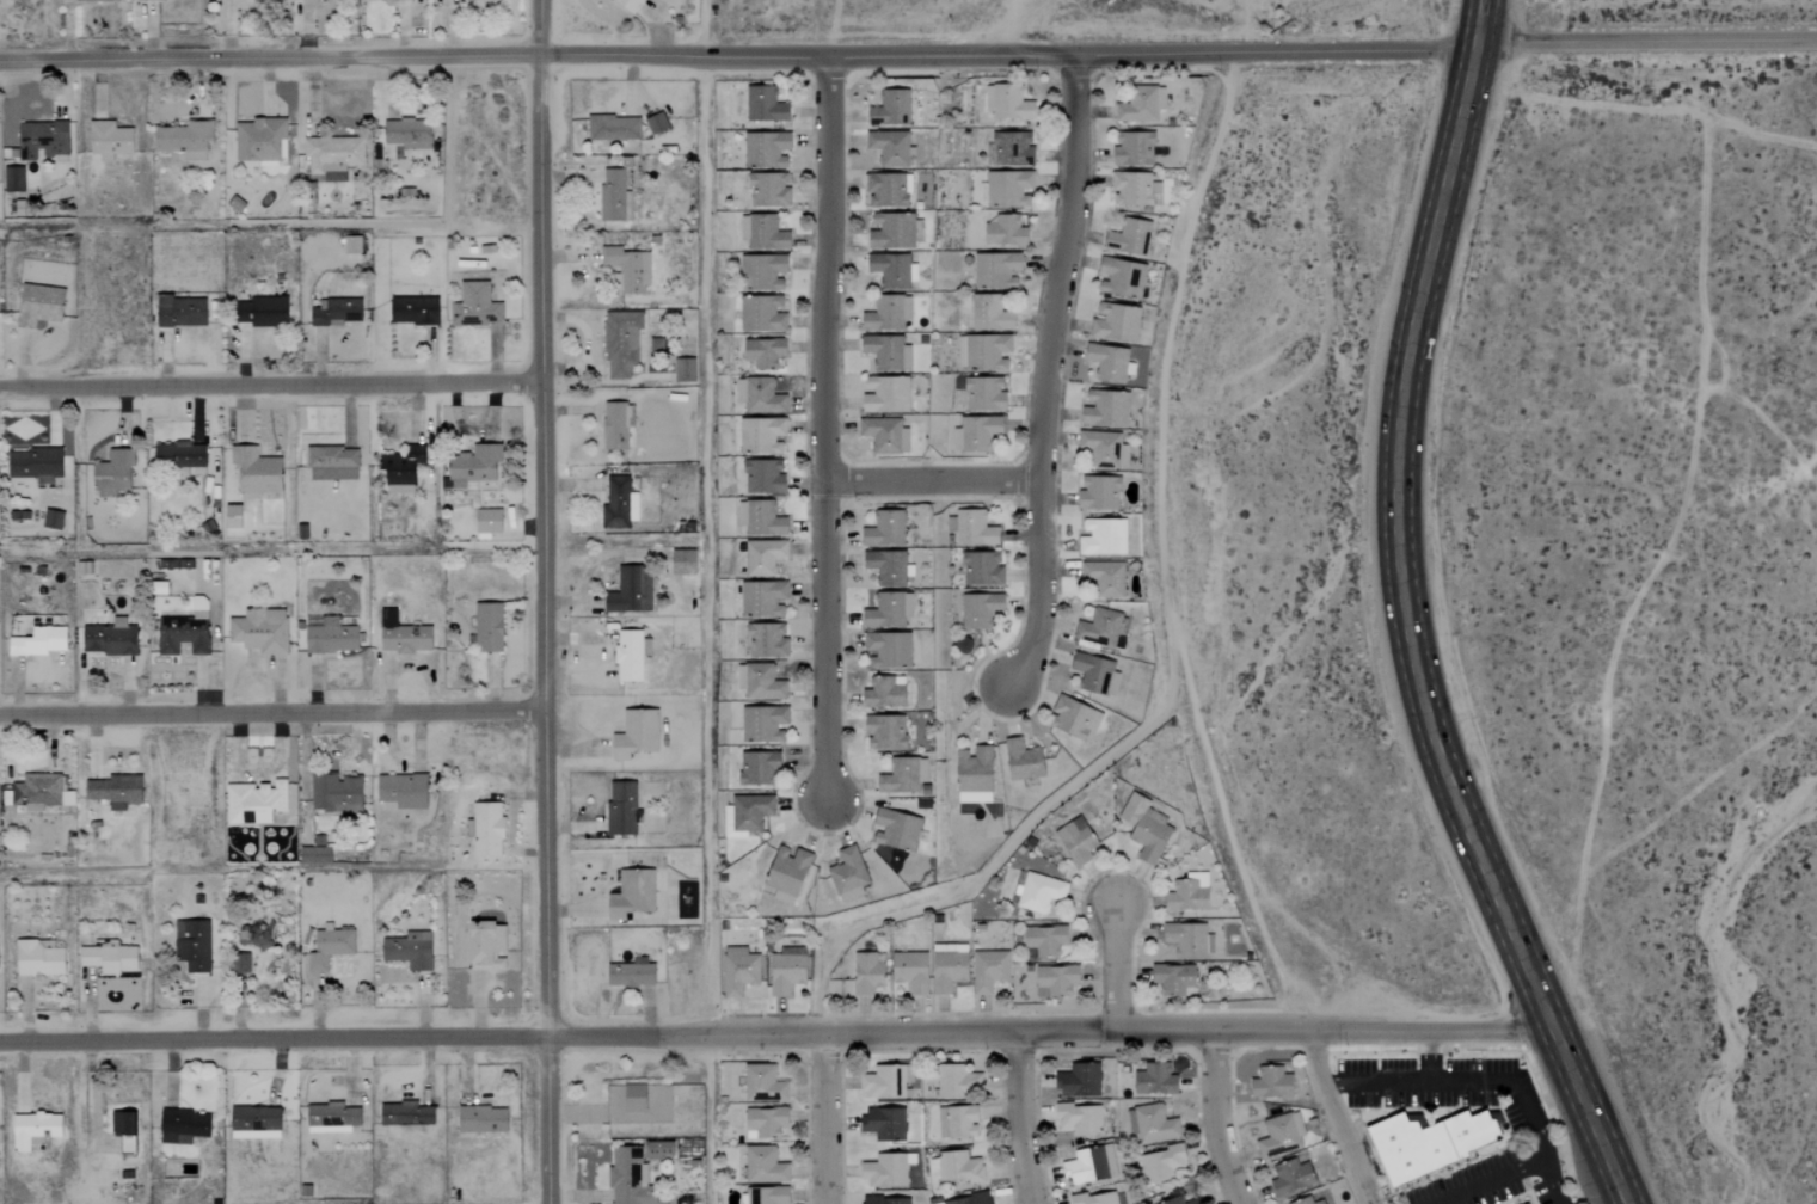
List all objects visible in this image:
building: (84, 0)
building: (228, 0)
building: (370, 0)
building: (630, 5)
road: (1645, 42)
road: (413, 53)
road: (1149, 55)
building: (766, 104)
building: (1143, 105)
building: (892, 107)
building: (657, 123)
building: (614, 128)
building: (410, 134)
building: (185, 139)
building: (42, 140)
building: (110, 140)
building: (262, 140)
building: (891, 147)
building: (767, 148)
building: (1013, 148)
building: (1134, 148)
building: (334, 156)
building: (13, 179)
building: (1007, 188)
building: (1134, 188)
building: (889, 189)
building: (769, 190)
building: (615, 197)
building: (897, 231)
building: (1007, 231)
building: (1132, 236)
building: (352, 244)
building: (628, 269)
building: (894, 270)
building: (997, 270)
building: (763, 272)
building: (1122, 277)
building: (41, 305)
building: (477, 306)
building: (182, 311)
building: (416, 311)
building: (270, 312)
building: (889, 312)
building: (245, 313)
building: (336, 313)
building: (990, 313)
building: (762, 314)
building: (1117, 321)
building: (658, 342)
building: (621, 343)
building: (889, 351)
building: (987, 351)
building: (765, 352)
building: (1110, 362)
building: (686, 370)
road: (1050, 375)
road: (268, 385)
building: (986, 393)
building: (888, 394)
building: (762, 397)
building: (1107, 408)
building: (618, 424)
road: (824, 430)
building: (977, 432)
building: (762, 435)
building: (885, 435)
building: (1105, 448)
building: (179, 455)
building: (333, 463)
building: (36, 465)
building: (477, 466)
building: (404, 468)
building: (258, 471)
building: (113, 473)
building: (763, 477)
road: (931, 483)
building: (1100, 492)
building: (620, 503)
building: (761, 518)
building: (53, 520)
building: (489, 521)
building: (886, 529)
building: (975, 529)
building: (1103, 536)
building: (765, 557)
road: (1658, 558)
building: (685, 561)
building: (889, 567)
building: (983, 569)
building: (1106, 577)
building: (632, 590)
building: (765, 598)
road: (535, 602)
building: (981, 609)
building: (890, 610)
road: (1402, 618)
building: (489, 627)
building: (1103, 627)
building: (262, 631)
building: (186, 632)
building: (331, 635)
building: (111, 638)
building: (407, 638)
building: (768, 639)
building: (39, 641)
building: (889, 649)
building: (632, 655)
building: (1097, 674)
building: (765, 682)
building: (886, 693)
road: (268, 714)
building: (1076, 718)
building: (765, 724)
building: (886, 732)
building: (637, 733)
building: (289, 760)
building: (1024, 760)
building: (760, 767)
building: (975, 774)
building: (904, 775)
building: (117, 791)
building: (404, 791)
building: (39, 792)
building: (337, 792)
building: (256, 801)
building: (624, 807)
building: (748, 815)
building: (1146, 828)
building: (898, 829)
building: (487, 830)
building: (1078, 841)
building: (315, 855)
building: (788, 874)
building: (849, 874)
building: (1039, 892)
building: (633, 893)
building: (1190, 893)
building: (262, 934)
building: (1046, 940)
building: (1190, 940)
building: (194, 945)
building: (489, 946)
building: (331, 947)
building: (411, 951)
building: (39, 958)
building: (109, 958)
building: (950, 967)
building: (787, 970)
building: (990, 970)
road: (1116, 970)
building: (739, 971)
building: (913, 971)
building: (633, 973)
building: (867, 973)
building: (1175, 979)
building: (1057, 981)
road: (775, 1038)
road: (1430, 1058)
building: (1156, 1080)
building: (958, 1081)
building: (1080, 1081)
road: (1484, 1082)
building: (765, 1083)
building: (885, 1083)
building: (1273, 1083)
building: (637, 1098)
road: (88, 1102)
building: (332, 1118)
building: (483, 1119)
building: (1081, 1119)
road: (1337, 1119)
road: (823, 1120)
building: (124, 1122)
building: (958, 1122)
road: (1017, 1122)
building: (1132, 1122)
road: (1215, 1122)
building: (256, 1123)
building: (767, 1123)
building: (885, 1123)
building: (1156, 1124)
building: (185, 1126)
building: (35, 1130)
building: (1282, 1135)
building: (1426, 1143)
building: (659, 1149)
building: (1165, 1163)
building: (766, 1166)
building: (1091, 1166)
building: (956, 1168)
building: (889, 1171)
building: (1294, 1177)
building: (631, 1178)
road: (1490, 1181)
building: (769, 1194)
building: (1098, 1198)
building: (970, 1199)
building: (888, 1200)
building: (1185, 1200)
building: (1309, 1202)
building: (1533, 1203)

